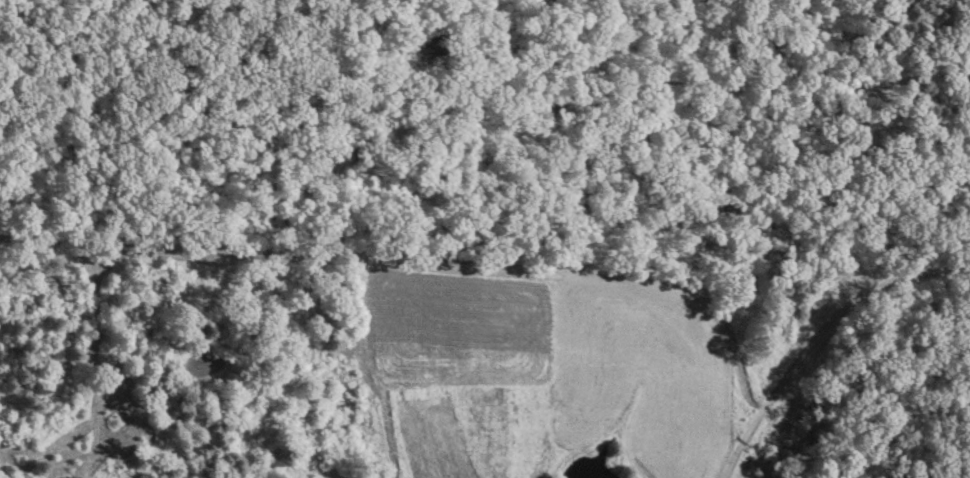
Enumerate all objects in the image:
road: (818, 335)

